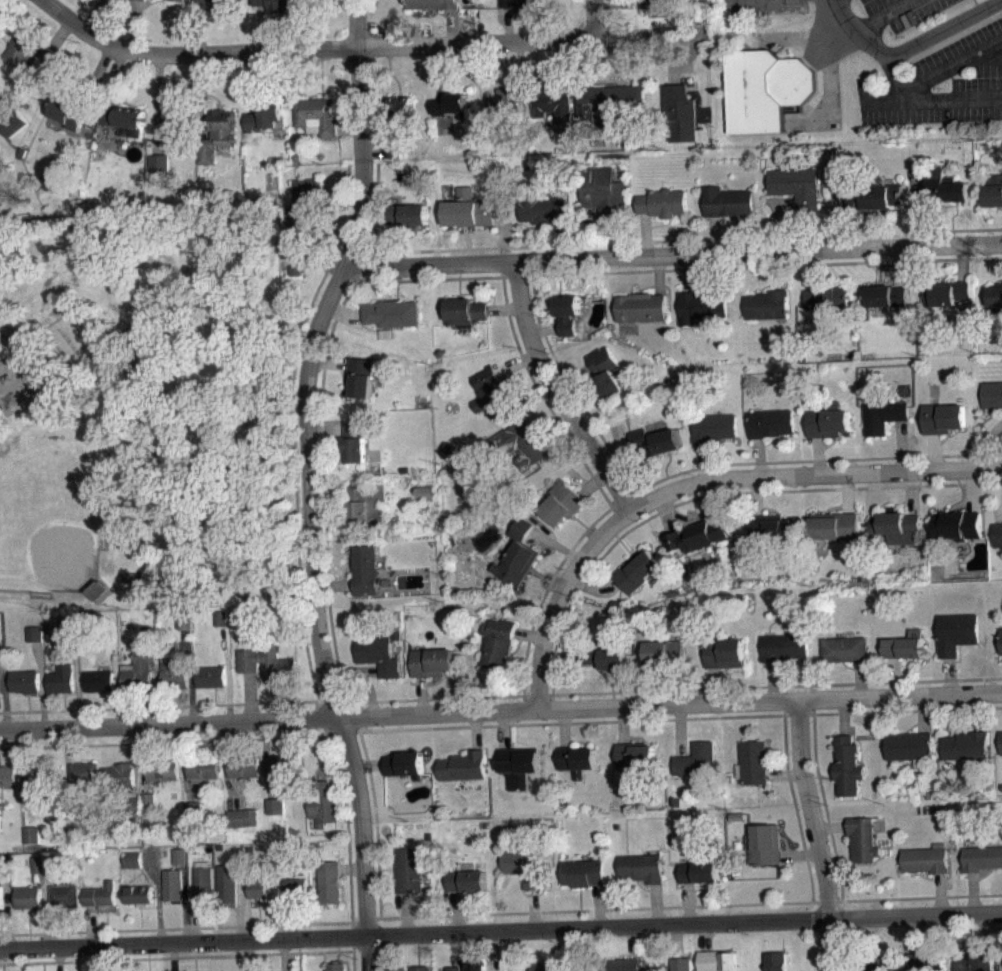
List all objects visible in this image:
building: (180, 0)
building: (139, 2)
building: (213, 2)
building: (432, 3)
building: (523, 4)
road: (617, 4)
building: (655, 4)
building: (280, 5)
parking lot: (759, 6)
parking lot: (904, 11)
road: (93, 15)
road: (886, 15)
road: (593, 18)
road: (507, 24)
road: (134, 25)
road: (451, 25)
road: (196, 26)
road: (940, 26)
road: (263, 27)
road: (857, 30)
road: (58, 33)
road: (368, 45)
building: (26, 50)
road: (992, 51)
road: (675, 60)
road: (583, 62)
road: (562, 66)
road: (941, 68)
road: (437, 71)
road: (672, 71)
road: (115, 76)
road: (95, 78)
road: (250, 81)
parking lot: (943, 82)
road: (519, 85)
building: (765, 89)
road: (202, 95)
road: (928, 97)
building: (500, 102)
road: (156, 103)
building: (605, 104)
building: (399, 105)
building: (451, 105)
building: (552, 105)
road: (4, 110)
building: (679, 113)
building: (67, 114)
building: (316, 115)
building: (264, 116)
building: (123, 118)
building: (179, 120)
building: (13, 122)
road: (348, 127)
building: (217, 134)
building: (521, 139)
building: (391, 147)
road: (372, 149)
building: (159, 163)
building: (796, 185)
road: (919, 186)
building: (944, 186)
building: (994, 191)
building: (604, 192)
building: (873, 197)
building: (727, 201)
building: (664, 203)
road: (374, 207)
building: (304, 208)
building: (541, 208)
building: (468, 209)
road: (912, 209)
building: (408, 214)
road: (778, 220)
road: (836, 220)
road: (504, 231)
road: (714, 234)
road: (645, 235)
road: (618, 238)
road: (559, 239)
road: (683, 239)
road: (396, 245)
road: (301, 254)
road: (333, 254)
road: (673, 255)
road: (323, 260)
road: (961, 263)
road: (359, 264)
road: (759, 265)
road: (898, 266)
road: (811, 269)
road: (778, 270)
road: (686, 273)
road: (657, 275)
road: (420, 279)
building: (946, 294)
building: (995, 295)
building: (886, 296)
building: (826, 299)
building: (701, 305)
building: (766, 305)
building: (640, 307)
road: (505, 309)
building: (465, 310)
building: (390, 312)
building: (567, 312)
road: (342, 313)
road: (543, 327)
road: (329, 361)
road: (515, 363)
building: (605, 372)
building: (360, 377)
road: (572, 377)
road: (571, 387)
road: (539, 390)
road: (556, 392)
building: (492, 393)
building: (992, 394)
park: (147, 407)
building: (883, 415)
building: (942, 418)
building: (770, 423)
building: (828, 423)
building: (714, 426)
road: (326, 428)
road: (561, 436)
building: (656, 441)
building: (355, 442)
road: (985, 443)
building: (523, 445)
road: (900, 445)
road: (612, 446)
road: (932, 451)
road: (759, 456)
road: (817, 456)
road: (808, 459)
road: (703, 462)
building: (373, 475)
road: (698, 482)
road: (308, 483)
road: (591, 483)
road: (322, 487)
road: (971, 490)
road: (329, 492)
road: (911, 492)
road: (846, 493)
road: (717, 494)
road: (757, 495)
building: (562, 503)
building: (367, 505)
road: (665, 514)
road: (704, 514)
park: (54, 517)
building: (896, 526)
building: (956, 526)
building: (835, 527)
building: (768, 531)
building: (698, 535)
building: (998, 535)
road: (555, 544)
building: (516, 553)
building: (364, 569)
building: (638, 570)
road: (546, 583)
road: (332, 585)
road: (298, 586)
road: (592, 589)
road: (15, 598)
building: (220, 617)
building: (240, 617)
building: (183, 621)
building: (48, 627)
building: (68, 627)
building: (34, 633)
building: (956, 633)
road: (529, 636)
building: (1000, 641)
building: (498, 642)
building: (905, 646)
building: (784, 647)
building: (843, 649)
building: (724, 652)
building: (377, 653)
building: (664, 654)
building: (2, 655)
building: (604, 657)
road: (560, 658)
building: (432, 662)
building: (267, 663)
building: (139, 668)
road: (367, 670)
building: (173, 673)
road: (191, 674)
building: (210, 676)
road: (362, 676)
road: (948, 676)
road: (892, 677)
building: (61, 679)
road: (858, 679)
road: (77, 680)
building: (99, 680)
road: (771, 681)
building: (25, 682)
road: (42, 684)
road: (714, 684)
road: (677, 685)
road: (153, 692)
road: (229, 693)
road: (248, 695)
road: (420, 695)
road: (500, 695)
road: (4, 696)
road: (117, 701)
road: (500, 710)
road: (978, 712)
road: (922, 714)
road: (360, 715)
road: (843, 716)
road: (320, 717)
road: (500, 724)
road: (623, 724)
road: (564, 727)
road: (505, 729)
road: (476, 730)
road: (680, 730)
building: (1001, 743)
building: (965, 745)
building: (908, 746)
road: (139, 754)
building: (635, 755)
road: (21, 756)
road: (264, 759)
building: (576, 759)
building: (697, 760)
road: (183, 762)
building: (753, 762)
road: (327, 763)
road: (67, 764)
road: (367, 764)
building: (403, 764)
building: (519, 764)
road: (225, 765)
building: (284, 765)
building: (463, 765)
building: (847, 765)
building: (243, 767)
building: (202, 768)
building: (162, 769)
building: (84, 773)
building: (118, 775)
road: (784, 775)
building: (7, 776)
building: (41, 779)
road: (143, 789)
road: (137, 790)
building: (148, 800)
building: (321, 804)
building: (275, 805)
building: (133, 807)
building: (192, 809)
building: (70, 810)
building: (242, 817)
road: (827, 821)
road: (831, 825)
road: (346, 827)
building: (0, 830)
road: (375, 831)
building: (31, 834)
road: (816, 835)
building: (862, 838)
building: (764, 844)
building: (192, 849)
road: (799, 853)
building: (178, 856)
building: (132, 859)
building: (981, 859)
building: (925, 860)
building: (51, 862)
building: (37, 864)
building: (524, 866)
building: (641, 867)
road: (350, 868)
building: (408, 869)
building: (698, 871)
building: (582, 872)
building: (3, 873)
road: (48, 878)
road: (41, 879)
building: (465, 881)
building: (328, 882)
building: (226, 883)
building: (202, 884)
building: (173, 885)
building: (295, 888)
building: (256, 889)
road: (972, 893)
road: (156, 894)
road: (939, 894)
building: (64, 895)
building: (100, 895)
building: (138, 895)
building: (0, 897)
building: (28, 897)
road: (922, 897)
road: (184, 902)
road: (688, 902)
road: (598, 904)
road: (655, 904)
road: (691, 905)
road: (532, 909)
road: (456, 911)
road: (405, 912)
road: (6, 915)
road: (238, 916)
road: (245, 916)
road: (45, 917)
road: (281, 917)
road: (192, 921)
road: (90, 926)
road: (993, 926)
road: (182, 928)
road: (500, 929)
road: (984, 932)
road: (918, 935)
road: (705, 937)
road: (675, 941)
road: (633, 942)
road: (453, 948)
road: (494, 948)
road: (563, 949)
road: (284, 954)
road: (246, 955)
road: (172, 956)
road: (191, 957)
road: (58, 959)
building: (717, 960)
road: (353, 961)
building: (776, 961)
building: (977, 961)
building: (876, 962)
building: (926, 963)
building: (680, 964)
building: (621, 965)
building: (543, 966)
building: (337, 967)
building: (453, 967)
building: (419, 968)
building: (477, 968)
building: (396, 969)

